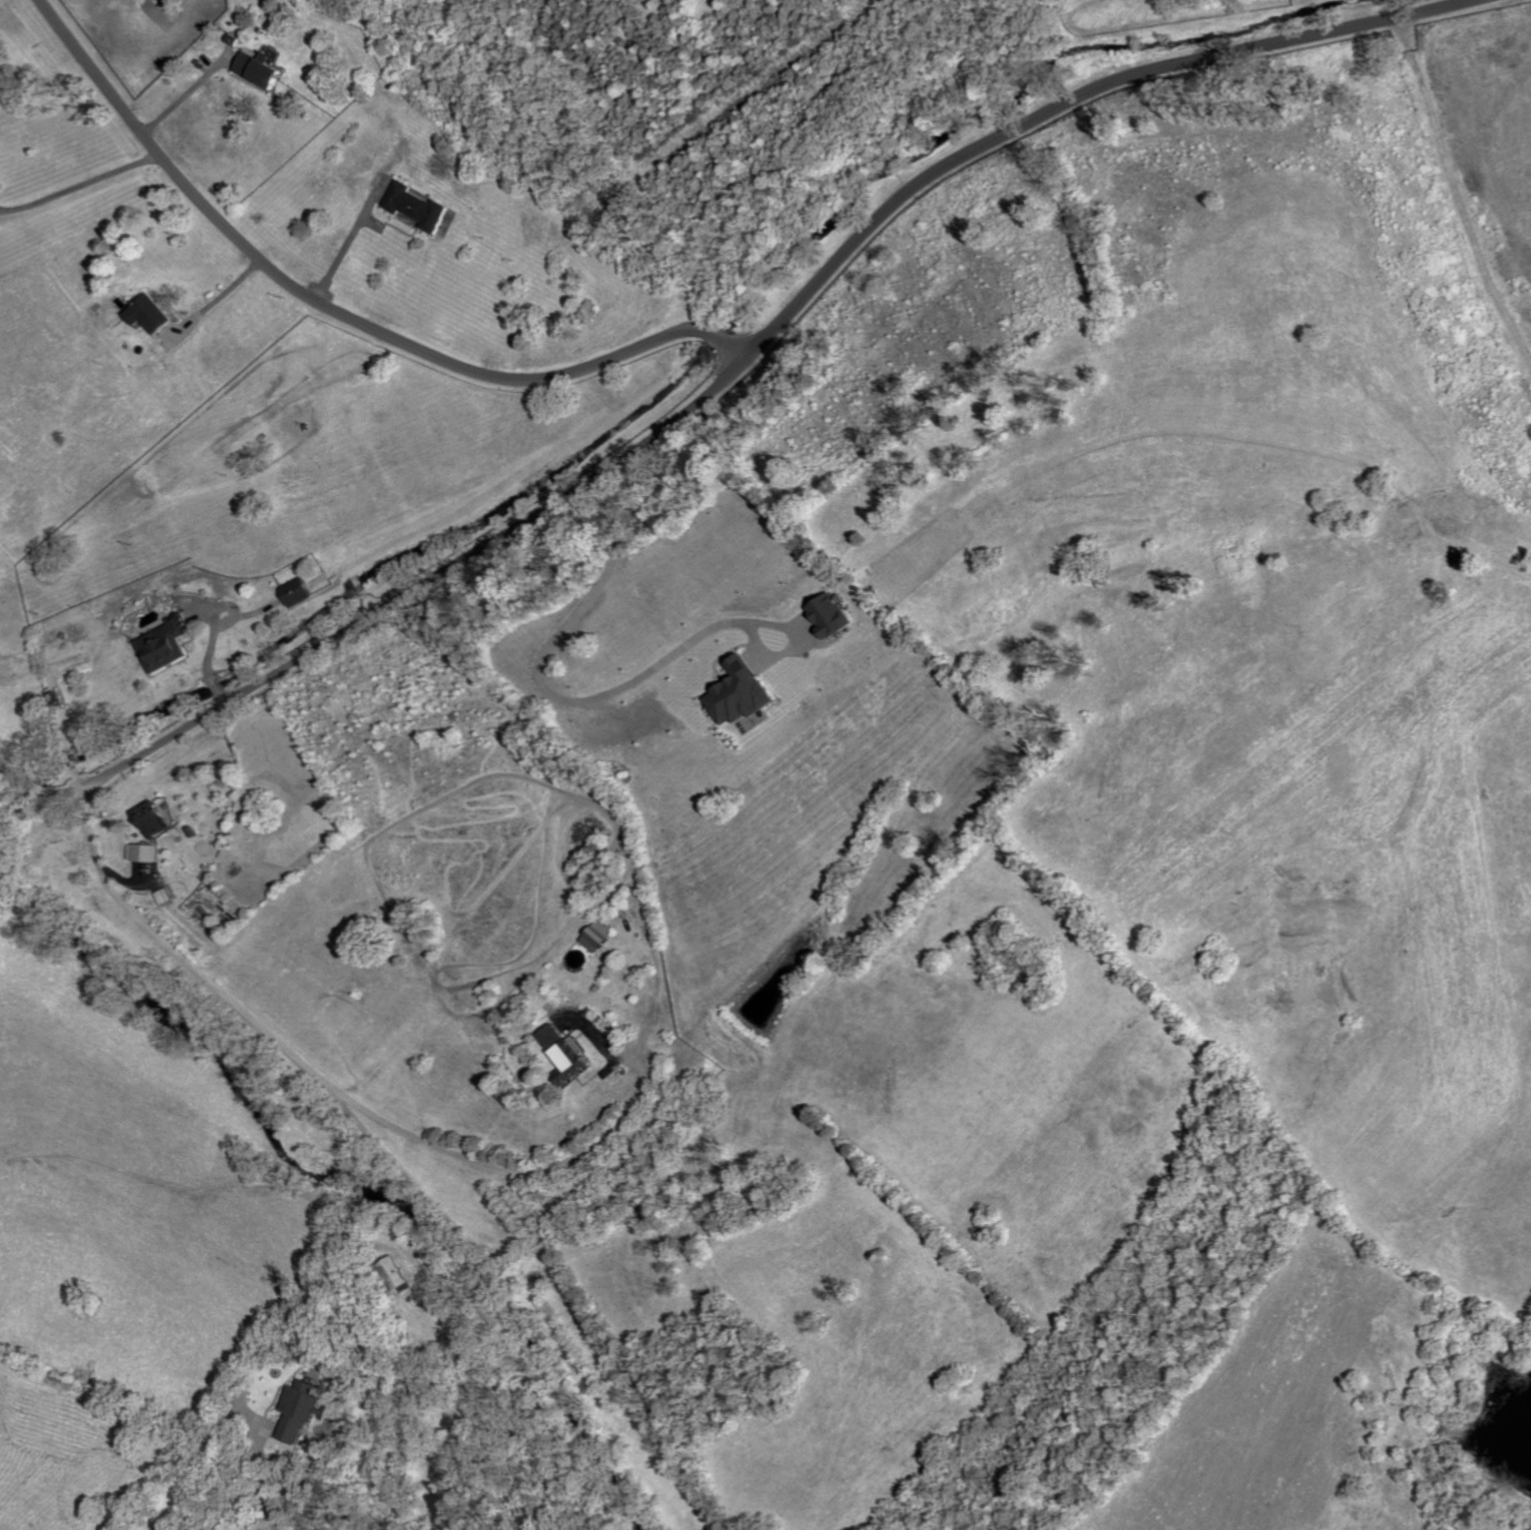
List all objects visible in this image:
building: (265, 68)
road: (180, 97)
road: (80, 185)
building: (420, 206)
road: (348, 240)
road: (219, 296)
building: (154, 314)
road: (340, 314)
road: (765, 342)
building: (301, 591)
building: (835, 615)
building: (169, 644)
road: (540, 683)
building: (743, 694)
road: (40, 786)
building: (155, 820)
building: (144, 853)
building: (167, 896)
building: (601, 936)
road: (619, 1053)
building: (569, 1054)
road: (313, 1070)
building: (305, 1408)
road: (270, 1477)
road: (327, 1484)

